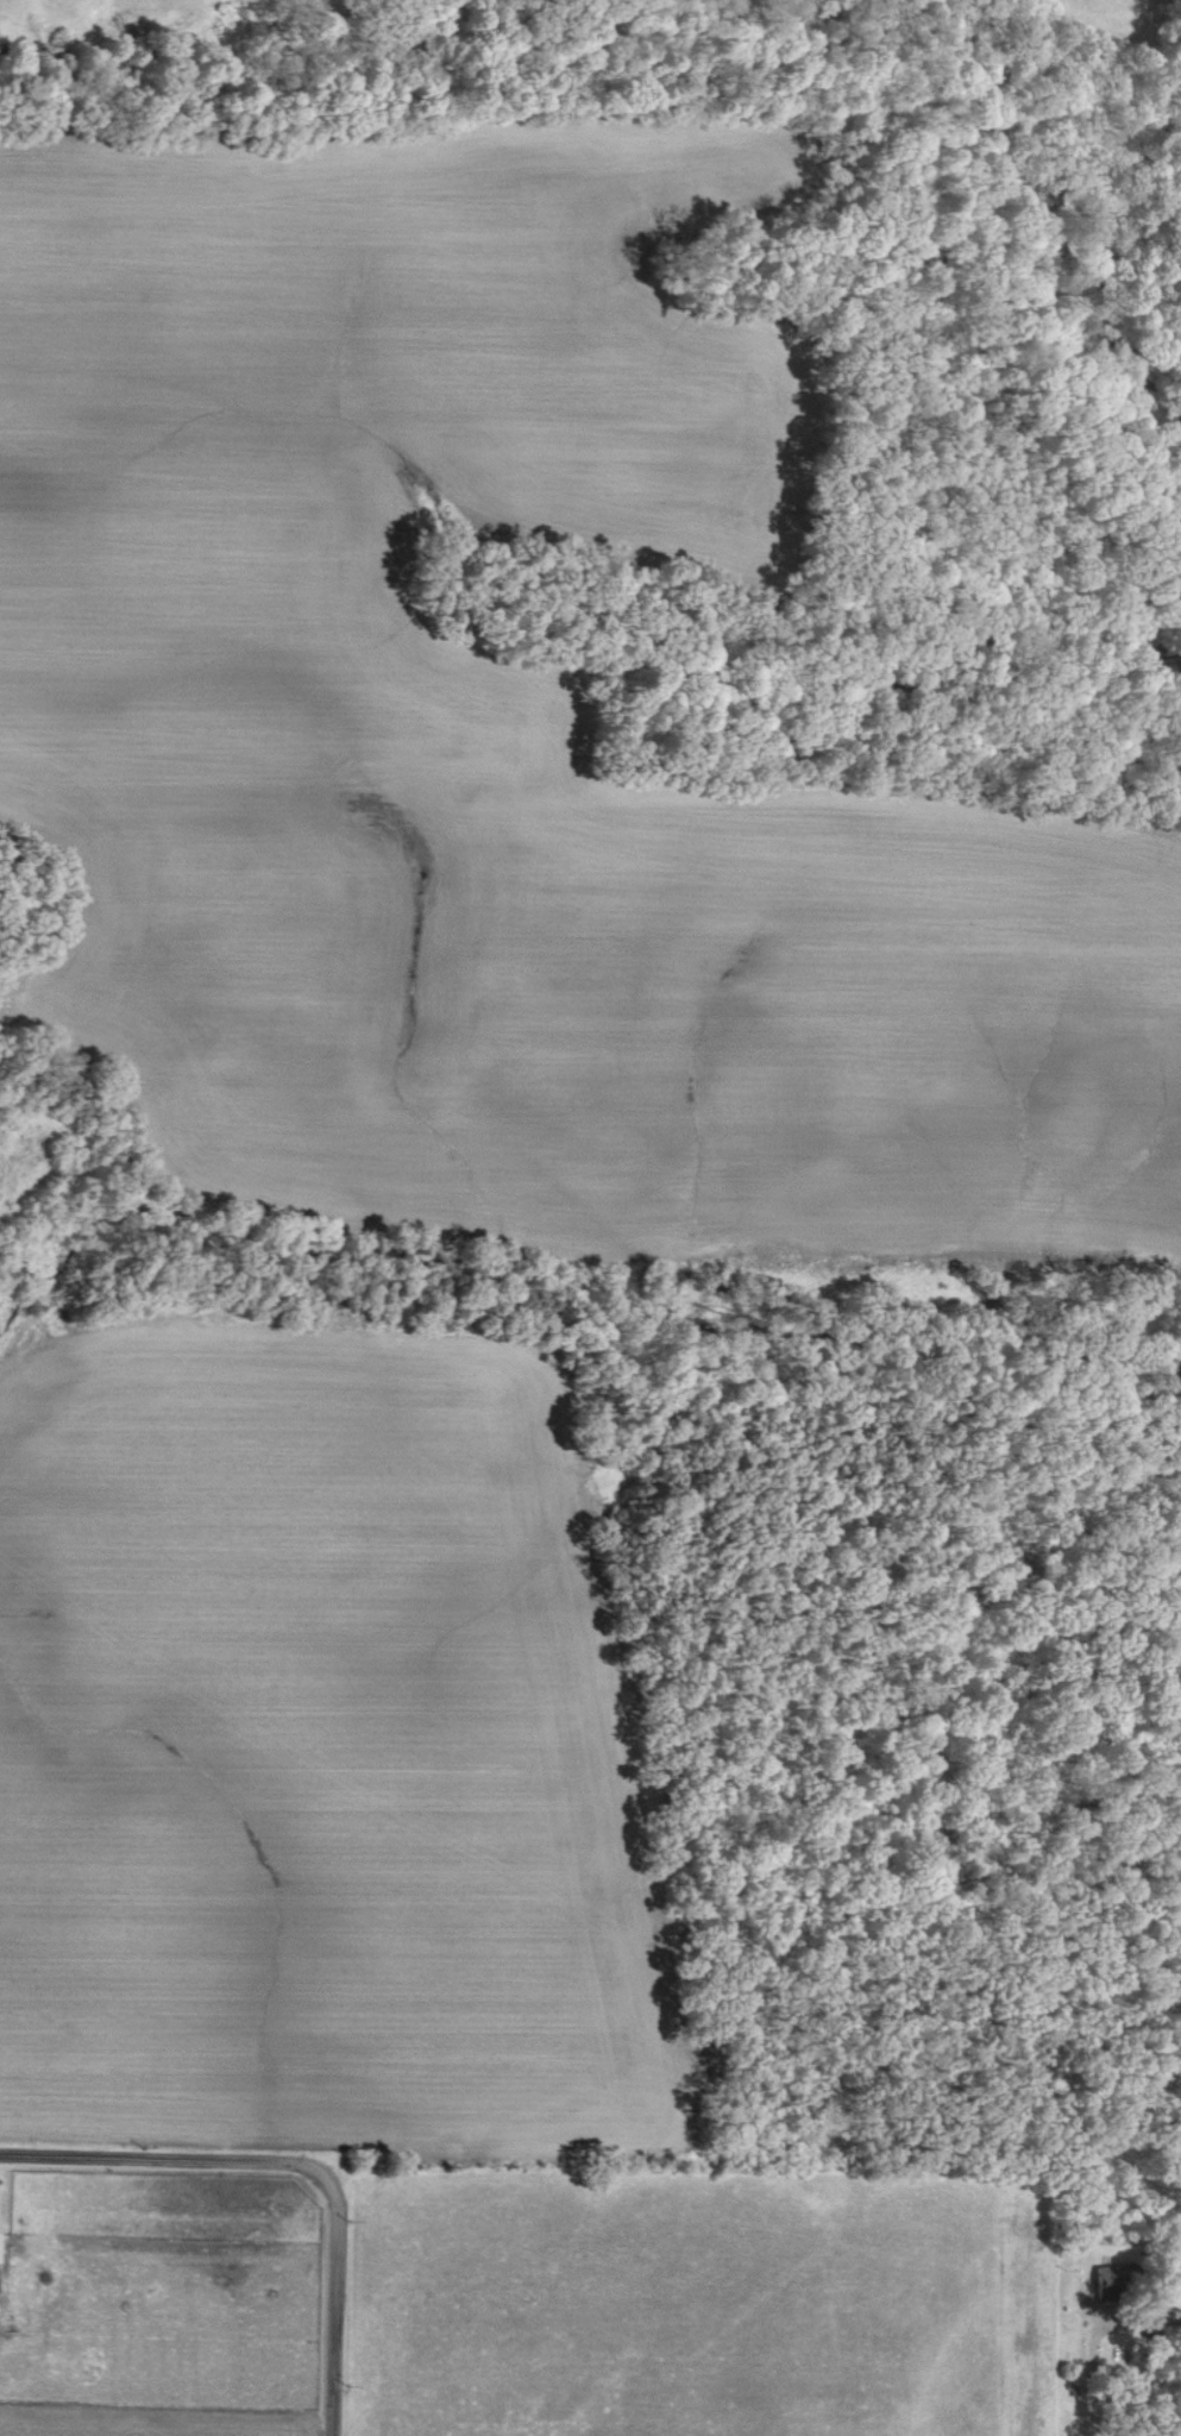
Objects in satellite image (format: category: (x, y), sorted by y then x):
road: (145, 2159)
road: (332, 2287)
road: (1119, 2367)

